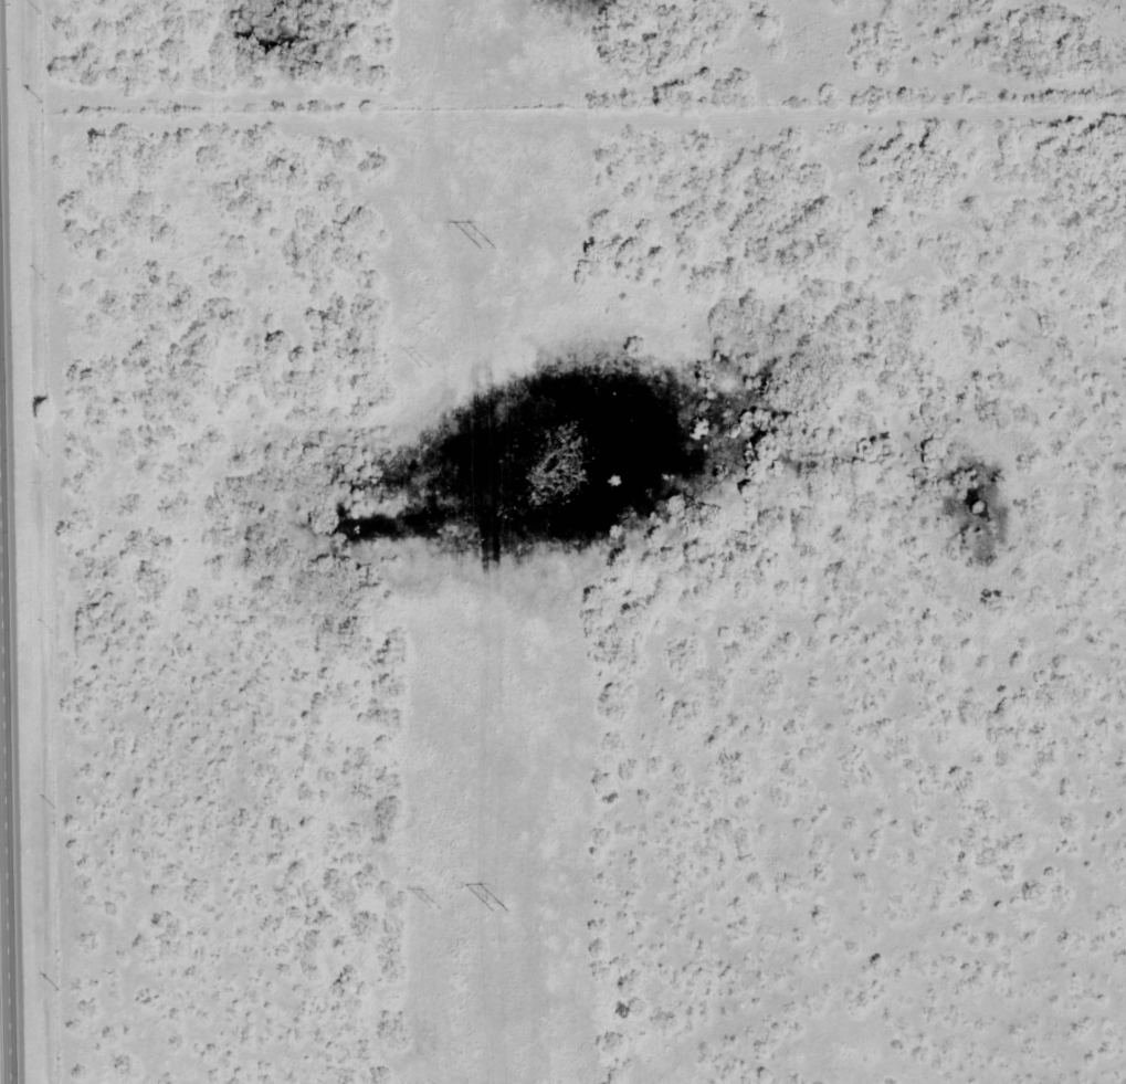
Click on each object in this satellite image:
power tower: (485, 251)
power tower: (424, 367)
road: (8, 694)
power tower: (434, 909)
power tower: (497, 914)

